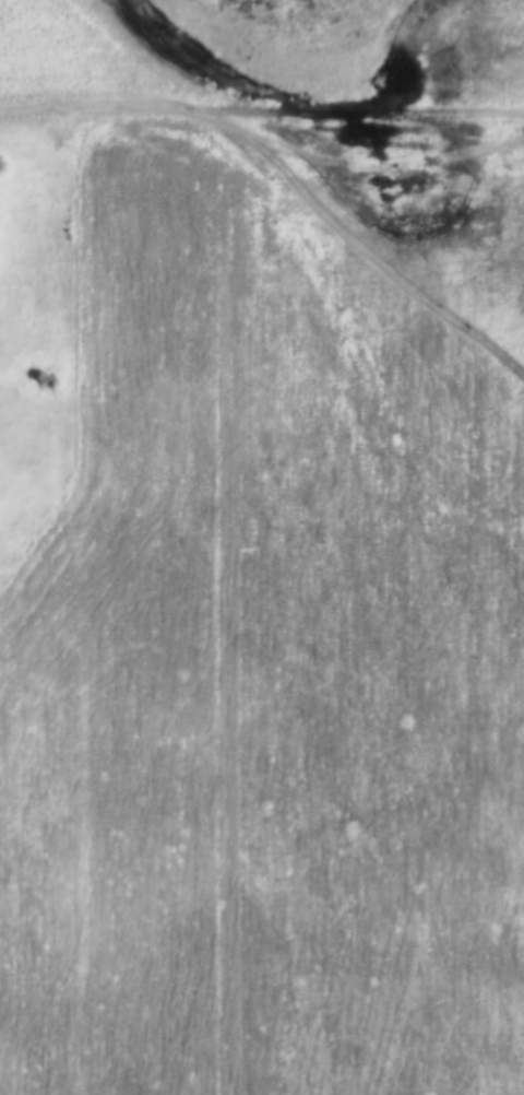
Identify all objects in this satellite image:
road: (261, 111)

